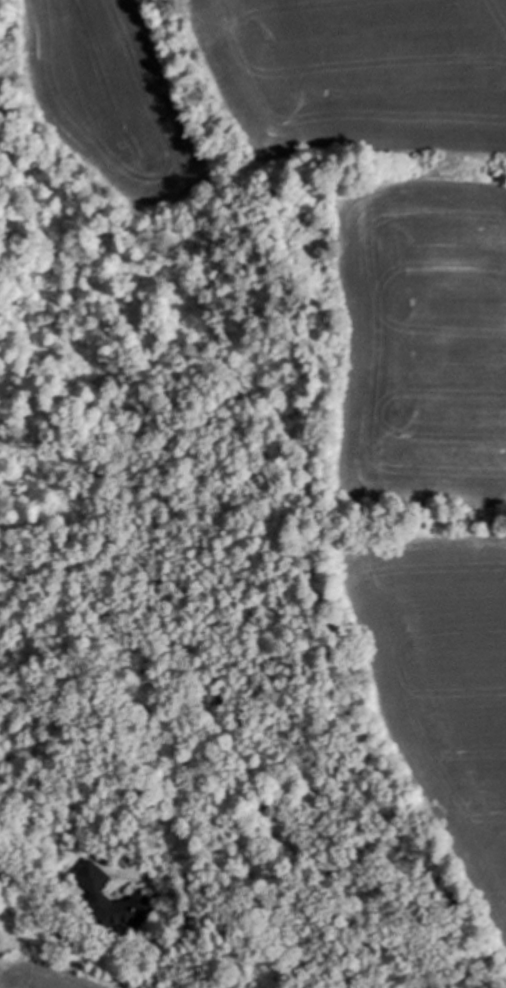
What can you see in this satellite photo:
road: (28, 870)
building: (113, 902)

